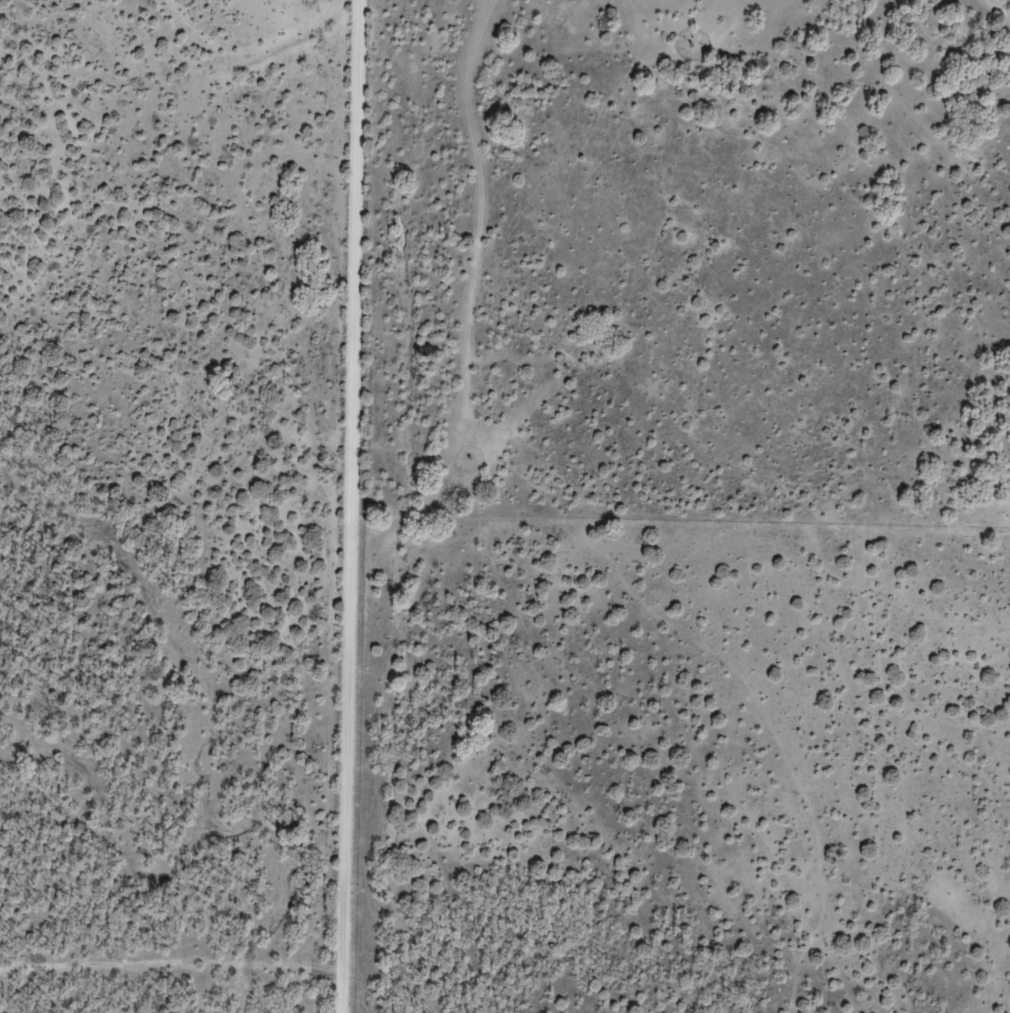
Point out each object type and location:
road: (353, 506)

